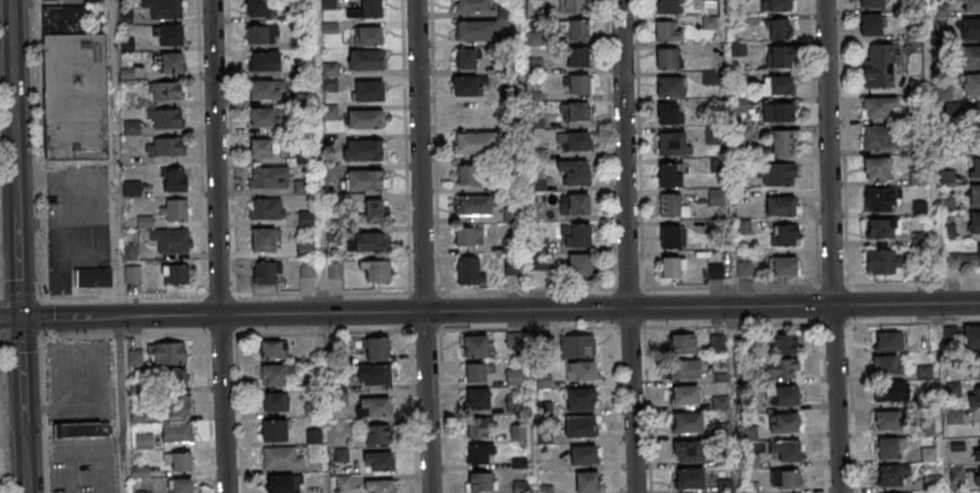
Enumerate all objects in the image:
building: (44, 0)
building: (710, 3)
building: (871, 4)
building: (775, 5)
building: (471, 6)
building: (667, 6)
building: (972, 6)
building: (571, 7)
building: (164, 8)
building: (260, 9)
building: (365, 10)
building: (64, 21)
building: (709, 22)
building: (871, 25)
building: (475, 29)
building: (777, 29)
building: (970, 30)
building: (577, 31)
building: (667, 32)
building: (171, 35)
building: (256, 36)
building: (368, 36)
building: (780, 56)
building: (578, 57)
building: (669, 58)
building: (970, 58)
building: (365, 59)
building: (466, 59)
building: (168, 62)
building: (265, 62)
building: (879, 65)
building: (579, 84)
building: (777, 85)
building: (466, 86)
building: (670, 86)
building: (972, 86)
building: (369, 90)
building: (168, 91)
building: (265, 91)
building: (75, 96)
road: (14, 106)
building: (877, 107)
building: (574, 111)
building: (777, 112)
building: (668, 113)
building: (969, 114)
building: (364, 118)
building: (166, 119)
building: (264, 119)
building: (131, 128)
building: (711, 136)
building: (880, 138)
building: (574, 141)
building: (975, 141)
building: (475, 143)
building: (671, 143)
building: (781, 143)
building: (165, 147)
building: (261, 149)
building: (363, 150)
road: (113, 158)
building: (973, 168)
building: (876, 169)
building: (574, 173)
building: (669, 175)
building: (777, 175)
building: (268, 177)
building: (470, 177)
building: (174, 179)
building: (364, 180)
building: (303, 186)
building: (974, 196)
building: (715, 198)
building: (881, 199)
building: (574, 205)
building: (669, 205)
building: (474, 206)
building: (780, 206)
building: (267, 208)
building: (176, 210)
building: (373, 210)
building: (306, 218)
parking lot: (76, 221)
building: (974, 223)
building: (882, 228)
building: (784, 234)
building: (575, 236)
building: (468, 237)
building: (669, 237)
building: (264, 239)
building: (171, 240)
building: (368, 242)
road: (218, 246)
road: (422, 246)
road: (627, 246)
road: (830, 246)
building: (305, 249)
building: (131, 252)
building: (964, 261)
building: (883, 262)
road: (18, 266)
building: (579, 266)
building: (783, 266)
building: (512, 267)
building: (673, 267)
building: (335, 268)
building: (375, 269)
building: (306, 270)
building: (469, 271)
building: (266, 272)
building: (176, 273)
building: (133, 274)
building: (93, 277)
road: (554, 310)
road: (122, 317)
road: (68, 318)
road: (10, 319)
traffic signals: (20, 319)
building: (972, 337)
building: (514, 340)
building: (885, 341)
building: (683, 343)
building: (784, 344)
building: (476, 346)
building: (577, 347)
building: (377, 348)
building: (273, 349)
building: (170, 354)
building: (135, 357)
road: (21, 363)
building: (886, 365)
building: (781, 368)
building: (974, 368)
building: (684, 369)
building: (581, 371)
building: (475, 372)
building: (275, 374)
building: (376, 374)
building: (514, 377)
building: (176, 379)
building: (544, 381)
building: (890, 392)
building: (685, 395)
building: (786, 395)
building: (974, 397)
building: (477, 399)
building: (580, 399)
building: (274, 402)
building: (512, 403)
road: (120, 405)
building: (178, 405)
building: (373, 407)
building: (888, 420)
building: (686, 422)
building: (784, 423)
building: (580, 426)
building: (479, 427)
building: (80, 430)
building: (274, 430)
building: (177, 433)
building: (377, 434)
building: (144, 441)
building: (889, 448)
road: (23, 450)
building: (786, 450)
building: (688, 451)
building: (977, 452)
building: (480, 453)
building: (585, 455)
building: (281, 459)
building: (379, 461)
building: (181, 463)
road: (530, 471)
building: (891, 475)
building: (689, 478)
building: (786, 479)
building: (977, 479)
building: (480, 482)
building: (589, 482)
building: (280, 484)
building: (180, 486)
building: (380, 486)

